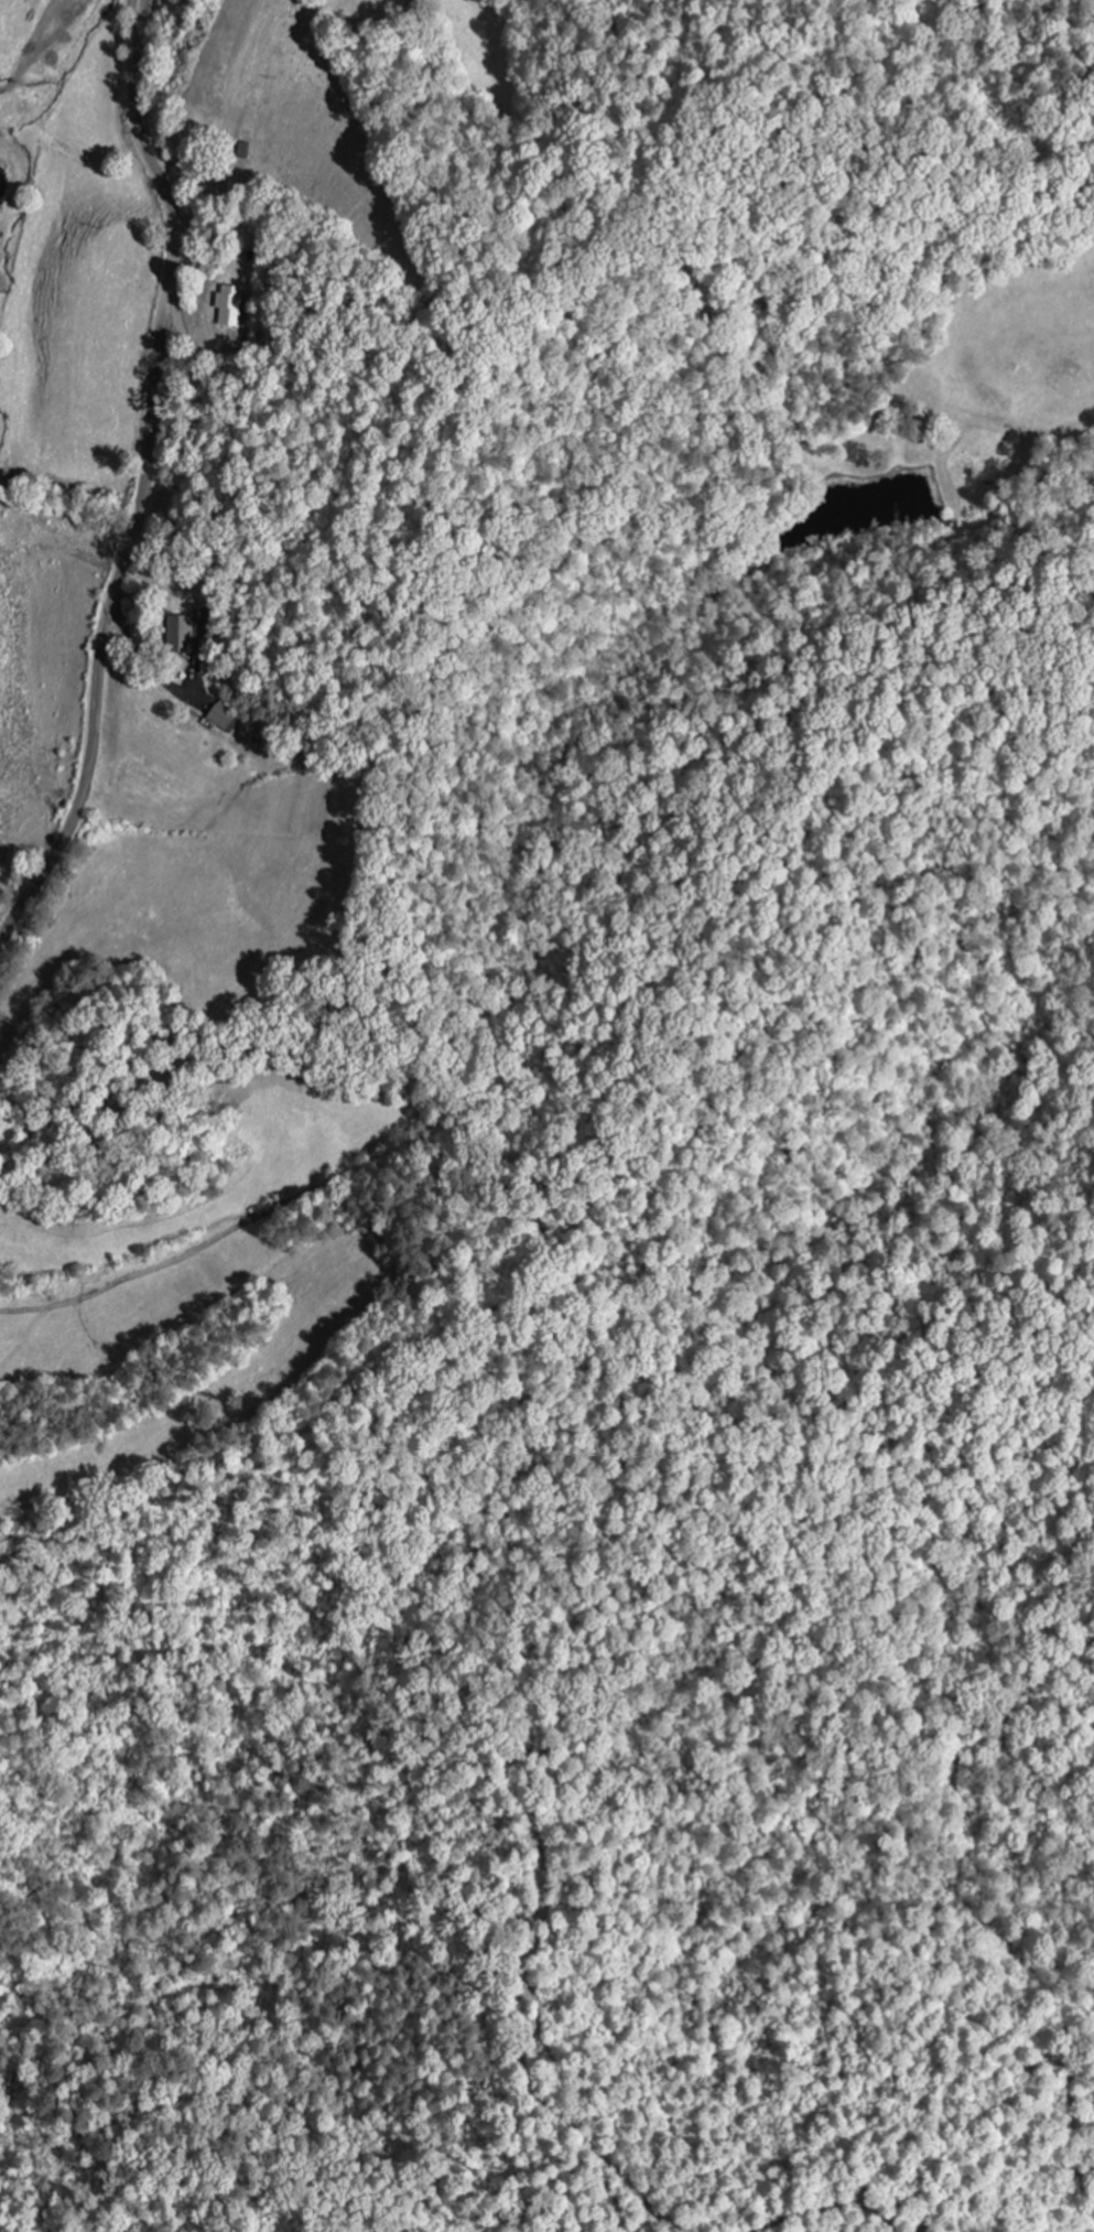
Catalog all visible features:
building: (229, 305)
road: (145, 482)
building: (183, 635)
building: (219, 718)

